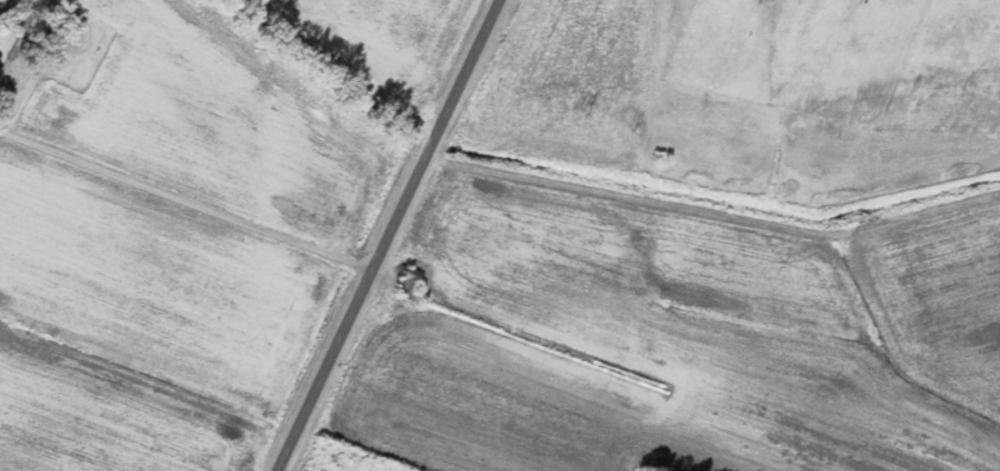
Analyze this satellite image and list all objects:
building: (0, 67)
road: (184, 193)
road: (384, 234)
building: (409, 283)

